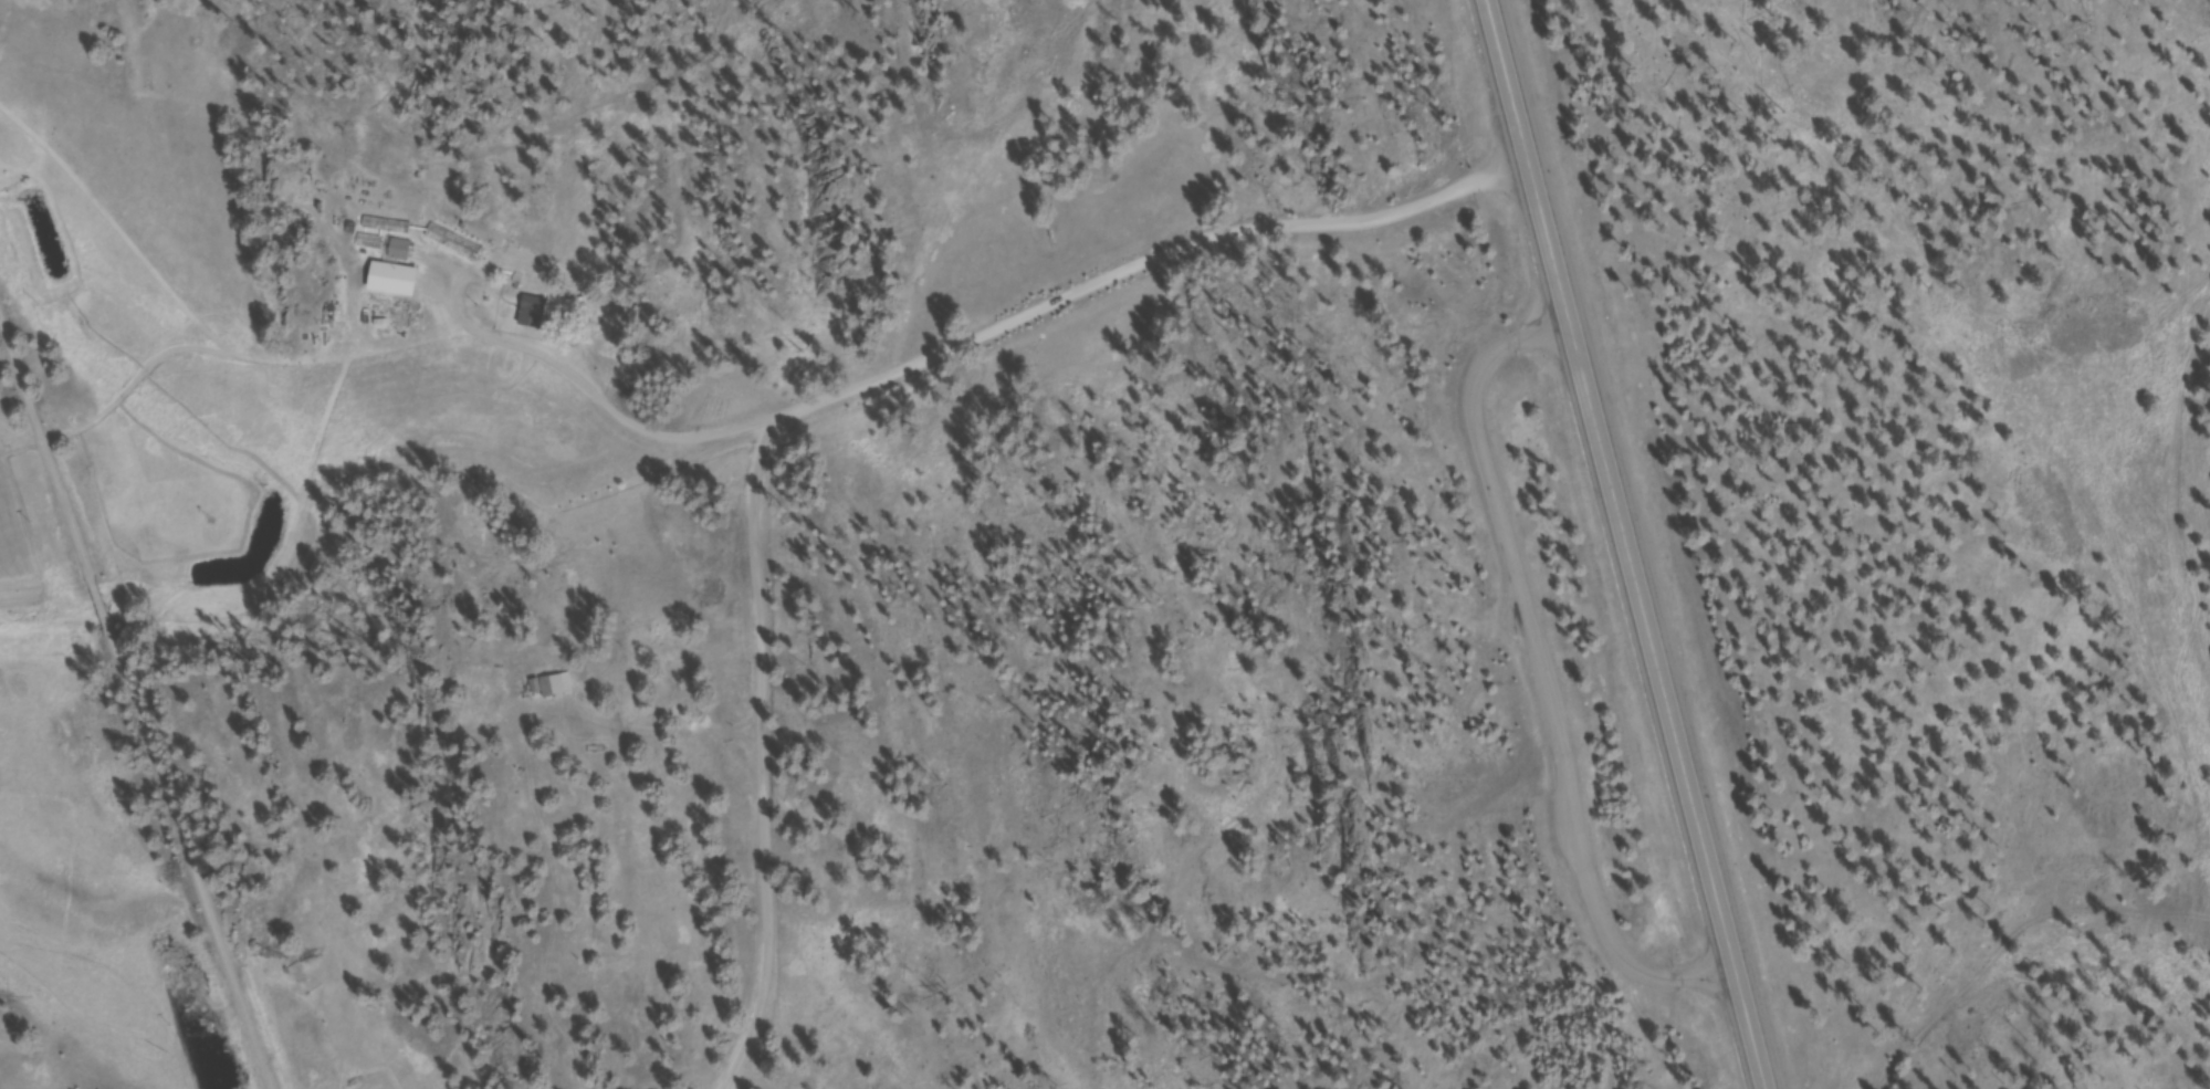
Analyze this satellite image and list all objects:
building: (389, 228)
building: (374, 244)
building: (402, 252)
building: (535, 314)
road: (832, 400)
road: (1626, 544)
building: (554, 689)
road: (142, 693)

